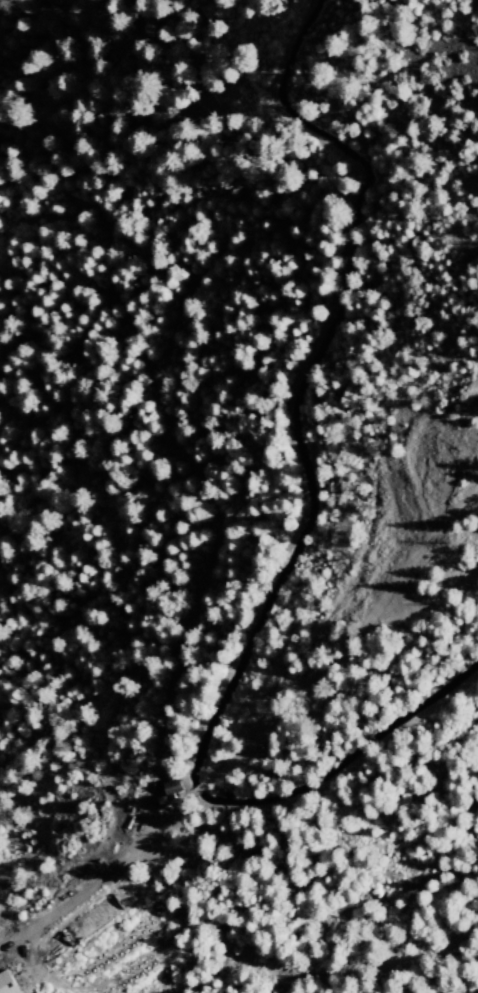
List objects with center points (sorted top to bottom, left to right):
road: (351, 637)
road: (195, 789)
road: (95, 875)
building: (8, 982)

